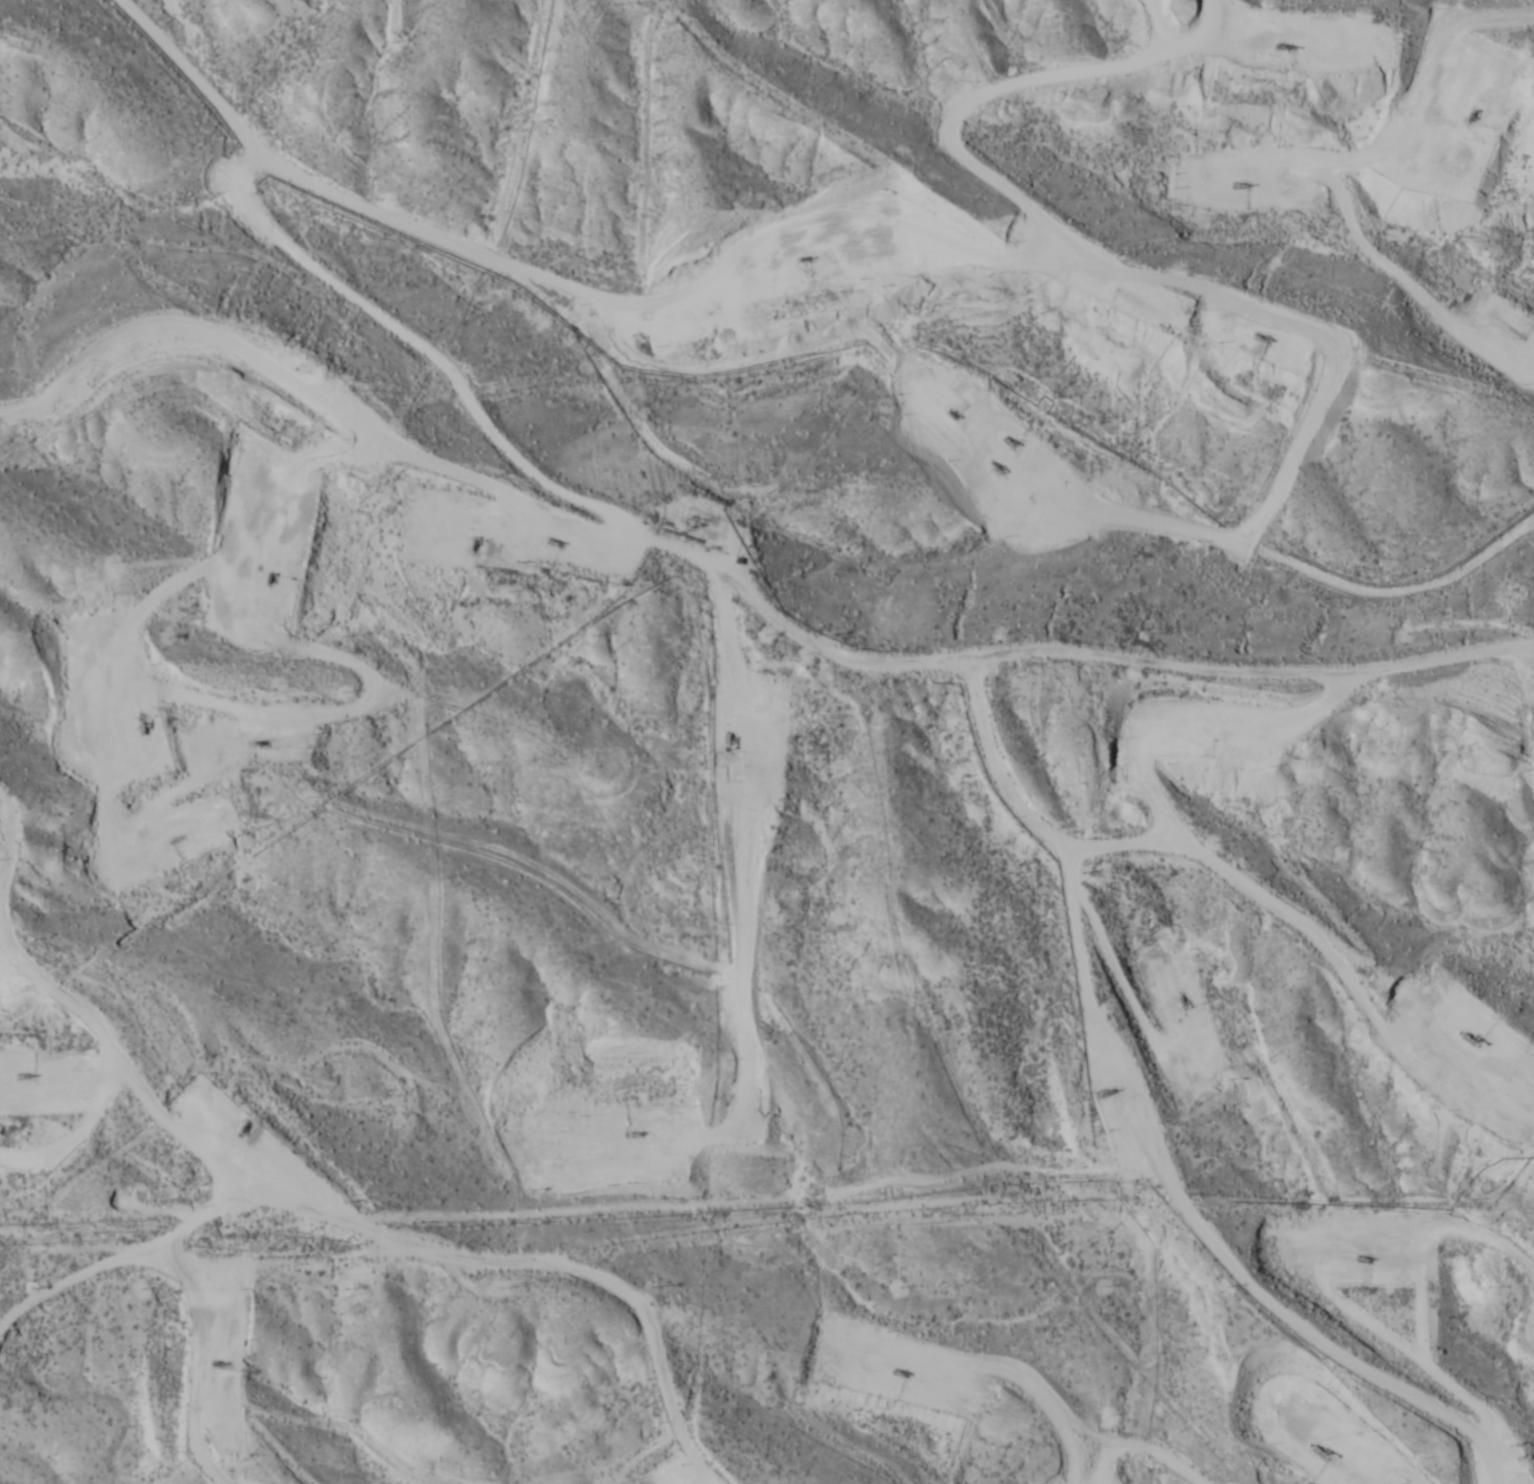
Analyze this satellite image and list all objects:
road: (1067, 151)
road: (745, 575)
road: (1483, 623)
road: (1179, 813)
road: (64, 1019)
road: (1157, 1126)
road: (399, 1246)

